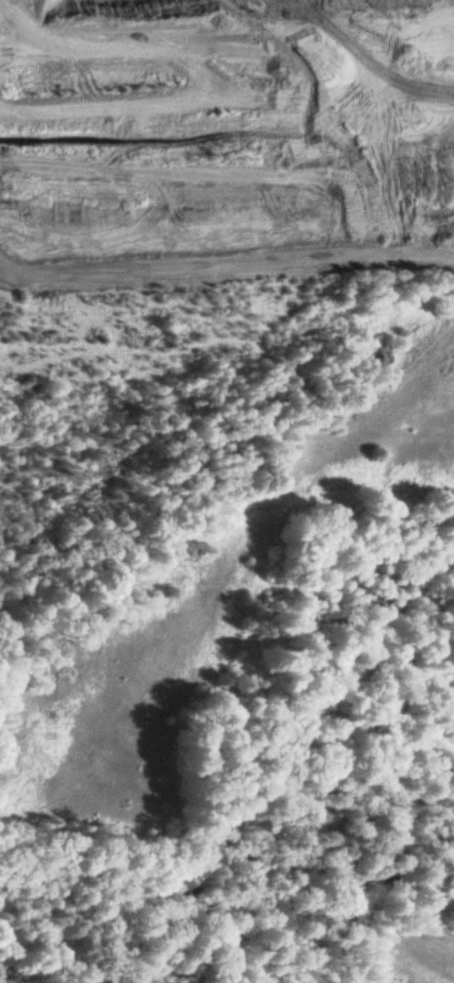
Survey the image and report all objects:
quarry: (227, 238)

